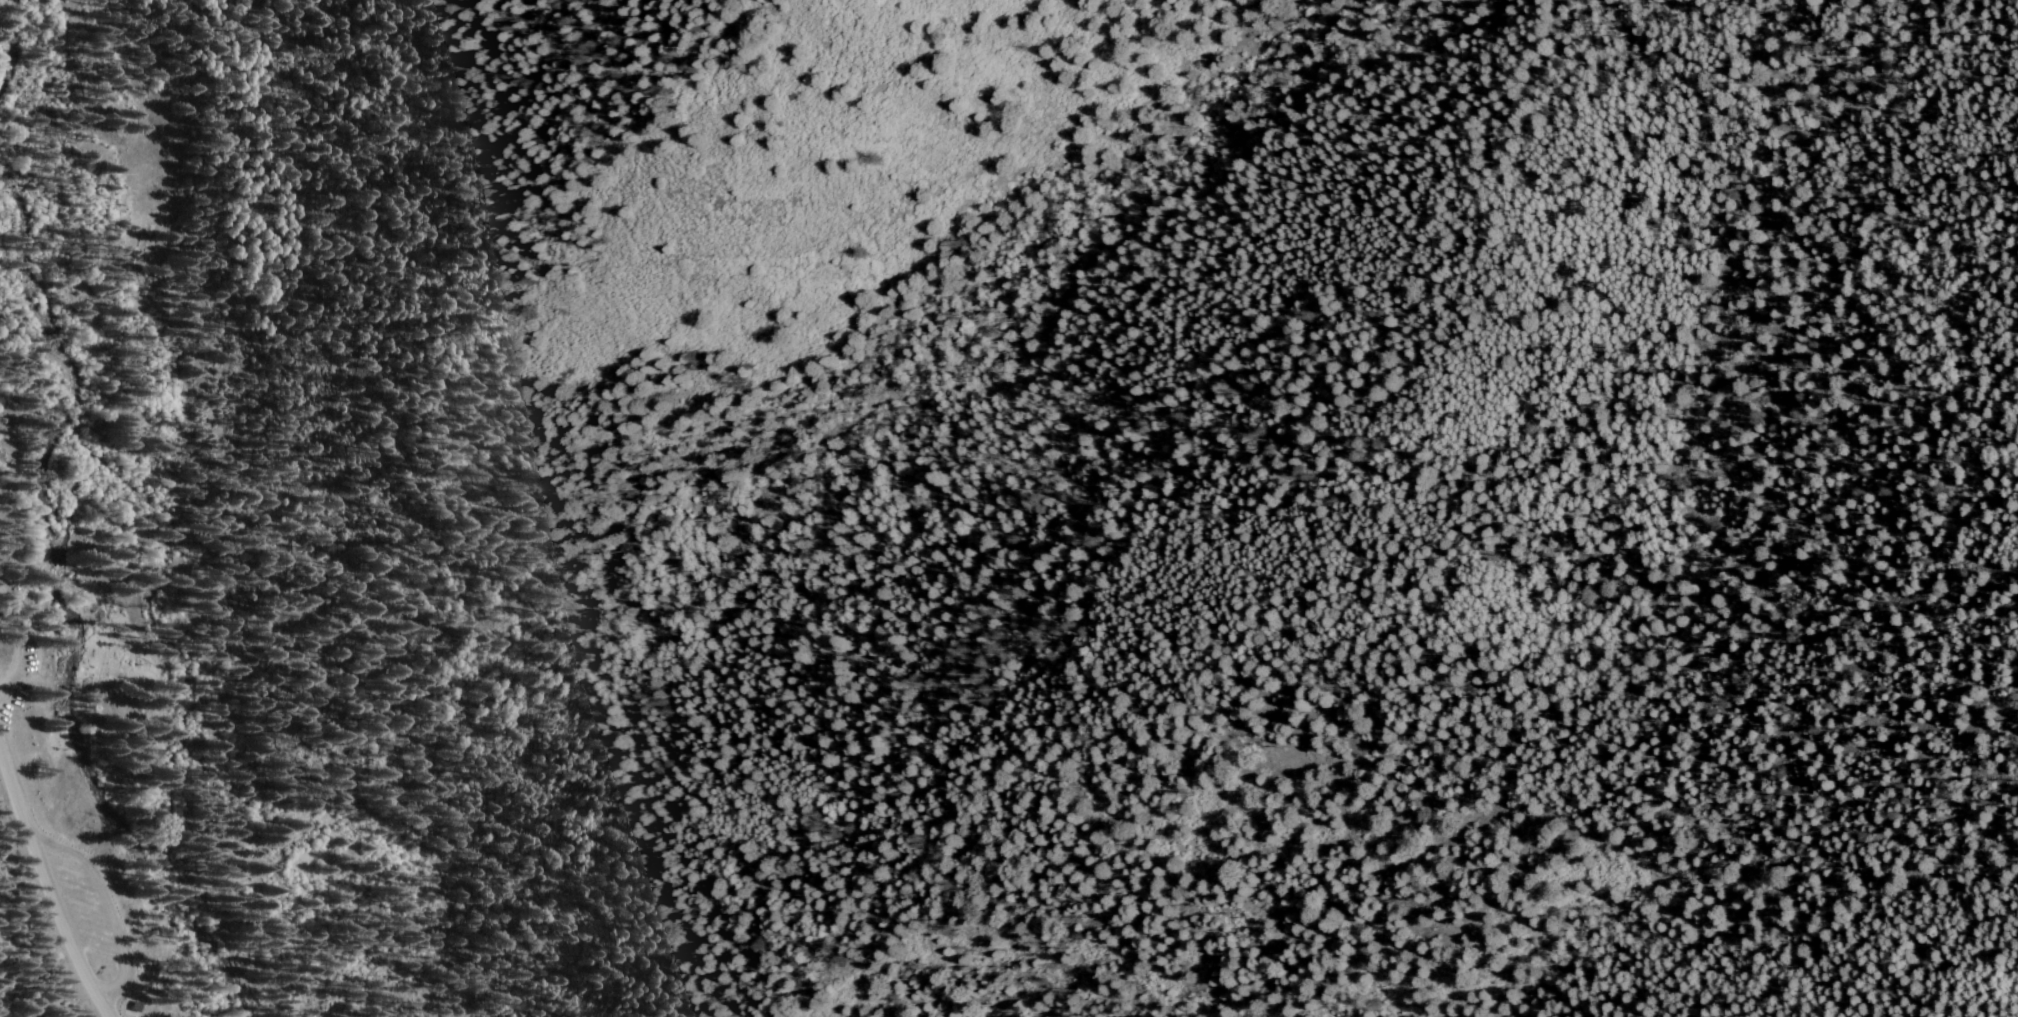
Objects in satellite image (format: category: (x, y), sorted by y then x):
road: (1007, 402)
river: (162, 612)
road: (18, 635)
parking lot: (26, 654)
road: (45, 881)
road: (100, 1009)

